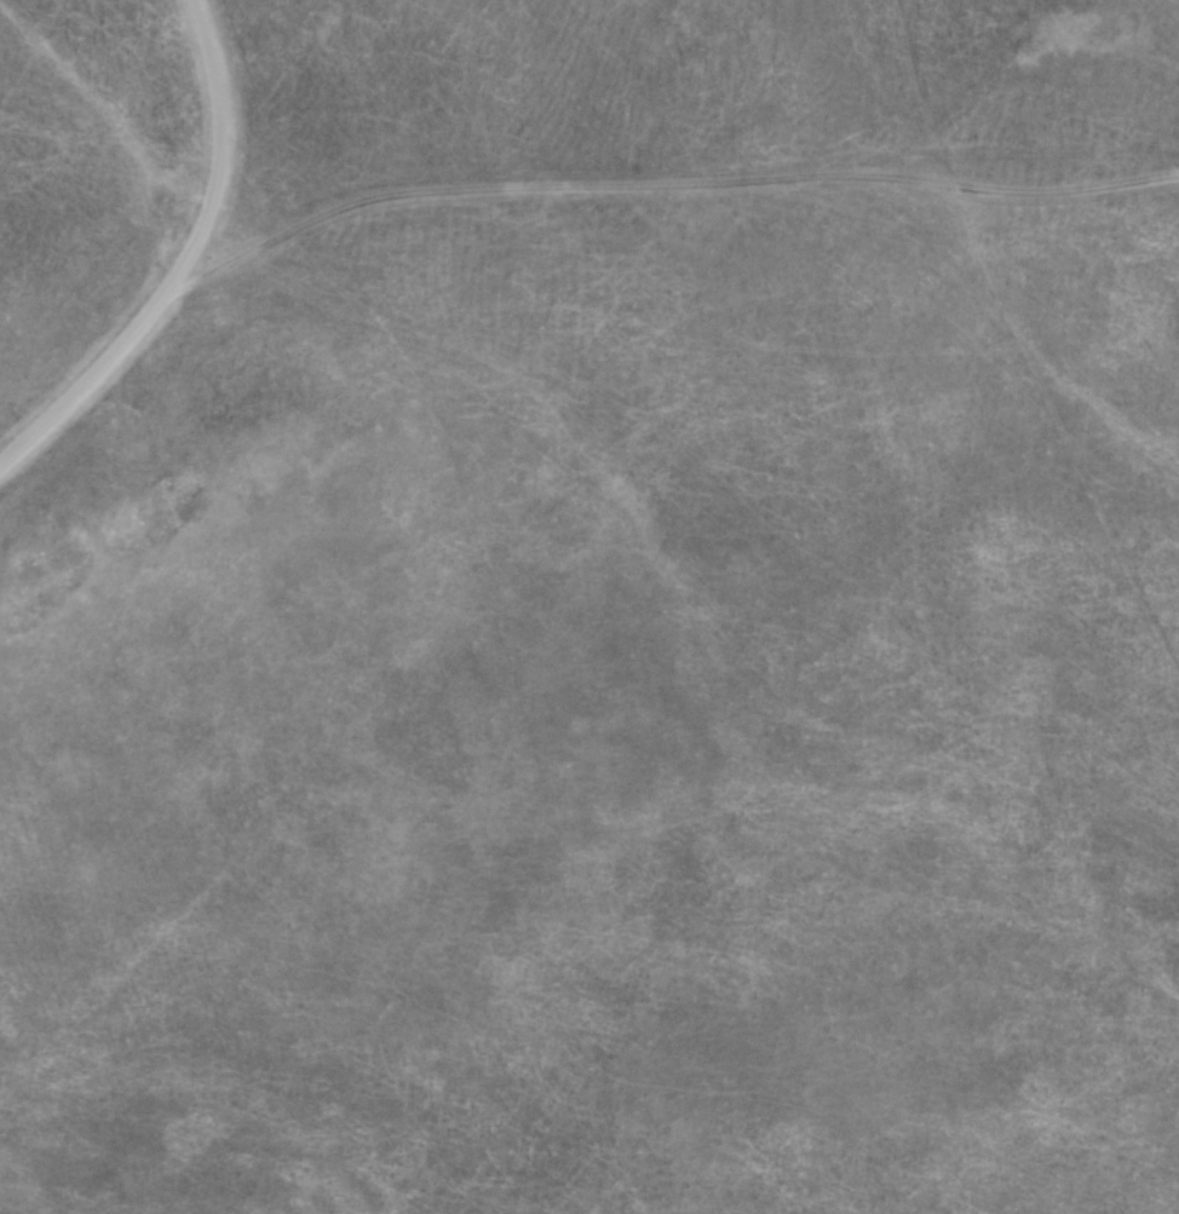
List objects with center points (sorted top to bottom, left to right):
road: (212, 82)
road: (690, 134)
road: (131, 330)

